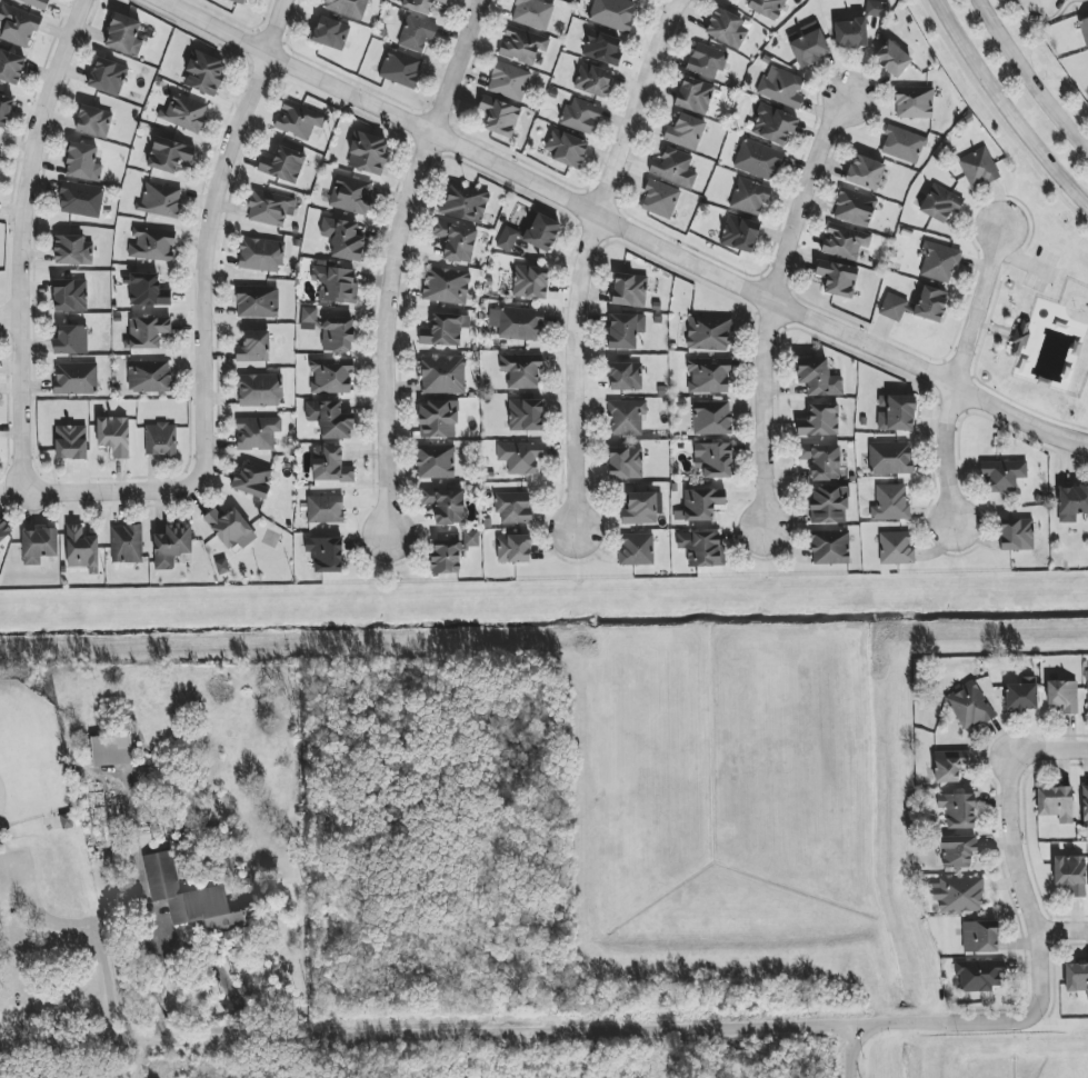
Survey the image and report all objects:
building: (641, 0)
building: (239, 1)
building: (36, 3)
building: (420, 4)
building: (347, 8)
building: (767, 8)
building: (877, 9)
building: (532, 13)
building: (613, 13)
building: (18, 26)
building: (726, 28)
building: (1085, 29)
building: (330, 33)
building: (416, 33)
building: (850, 33)
building: (123, 36)
building: (522, 46)
building: (809, 46)
building: (601, 48)
building: (891, 58)
building: (706, 60)
building: (10, 67)
building: (400, 68)
building: (203, 73)
building: (107, 77)
road: (1030, 77)
building: (592, 80)
building: (508, 81)
building: (781, 88)
building: (693, 96)
building: (914, 102)
road: (1005, 107)
building: (4, 109)
building: (184, 112)
building: (499, 116)
building: (580, 116)
building: (298, 120)
building: (93, 121)
building: (772, 124)
building: (685, 131)
building: (902, 143)
building: (0, 146)
building: (566, 148)
building: (367, 152)
building: (168, 154)
building: (758, 160)
building: (82, 162)
building: (282, 164)
building: (673, 168)
building: (978, 168)
building: (865, 172)
building: (351, 194)
building: (749, 197)
building: (80, 199)
building: (659, 199)
building: (160, 200)
building: (465, 202)
building: (270, 208)
building: (854, 208)
road: (216, 226)
road: (620, 228)
road: (24, 232)
building: (541, 232)
building: (739, 233)
building: (343, 238)
building: (508, 239)
building: (457, 241)
building: (844, 241)
building: (151, 243)
building: (72, 250)
building: (260, 254)
building: (939, 261)
road: (588, 266)
road: (397, 269)
building: (837, 278)
building: (530, 282)
building: (336, 283)
building: (447, 286)
building: (147, 290)
building: (629, 290)
building: (70, 296)
building: (257, 301)
building: (930, 303)
road: (772, 306)
building: (894, 307)
road: (10, 317)
building: (308, 318)
building: (517, 322)
building: (445, 330)
building: (626, 331)
building: (147, 332)
building: (709, 332)
building: (338, 335)
building: (1020, 337)
building: (71, 340)
building: (253, 347)
building: (521, 370)
building: (442, 375)
building: (708, 375)
building: (149, 376)
building: (331, 376)
building: (625, 376)
building: (818, 377)
building: (76, 379)
road: (959, 379)
building: (259, 390)
building: (896, 412)
building: (526, 415)
building: (626, 417)
building: (711, 418)
building: (330, 419)
building: (438, 419)
building: (819, 420)
building: (257, 432)
building: (113, 436)
building: (160, 439)
building: (71, 442)
building: (520, 457)
building: (890, 458)
building: (713, 459)
building: (821, 460)
building: (435, 461)
building: (625, 462)
building: (330, 465)
building: (1002, 475)
building: (252, 480)
road: (123, 502)
building: (890, 502)
building: (1071, 502)
building: (446, 505)
building: (699, 505)
building: (828, 505)
building: (513, 507)
building: (325, 509)
building: (640, 509)
building: (230, 529)
building: (3, 530)
building: (1016, 535)
building: (471, 538)
building: (127, 543)
building: (39, 545)
building: (172, 545)
building: (513, 548)
building: (700, 548)
building: (830, 548)
building: (81, 549)
building: (896, 549)
building: (637, 550)
building: (325, 553)
building: (445, 559)
building: (1087, 686)
building: (1021, 695)
building: (1062, 695)
building: (968, 706)
road: (1070, 740)
building: (111, 750)
building: (949, 765)
building: (1056, 802)
building: (1085, 805)
building: (958, 810)
building: (957, 850)
building: (1070, 874)
road: (1031, 880)
building: (958, 894)
building: (193, 898)
road: (1064, 932)
building: (979, 936)
building: (979, 975)
building: (1076, 977)
road: (450, 1035)
road: (849, 1052)

